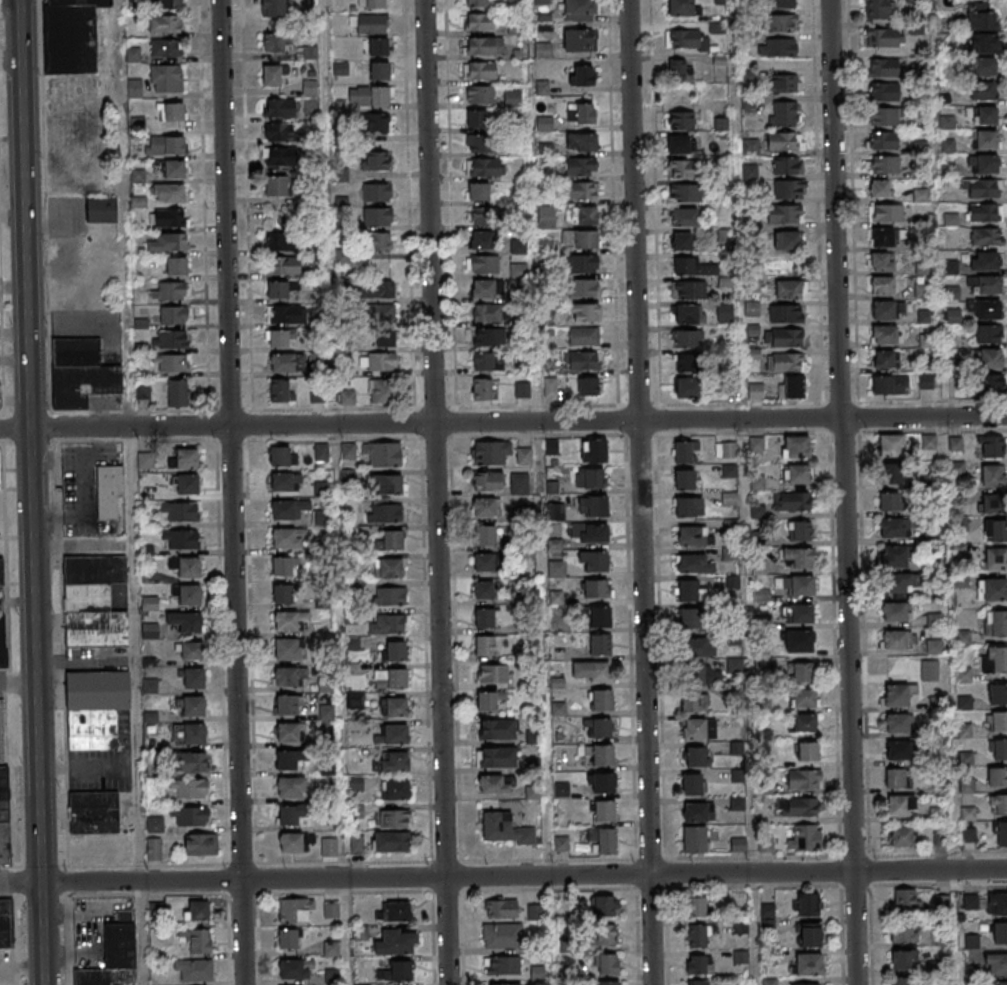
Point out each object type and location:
building: (913, 0)
building: (479, 3)
building: (170, 4)
building: (371, 4)
building: (513, 4)
building: (781, 4)
building: (681, 8)
building: (272, 9)
building: (877, 9)
building: (578, 11)
building: (480, 21)
building: (981, 22)
building: (781, 23)
building: (371, 24)
building: (165, 25)
building: (514, 28)
building: (71, 36)
building: (682, 37)
building: (882, 37)
building: (578, 40)
building: (276, 42)
building: (983, 44)
building: (379, 46)
building: (484, 46)
building: (777, 47)
building: (165, 48)
building: (543, 50)
building: (309, 51)
building: (983, 67)
building: (883, 68)
building: (678, 69)
building: (379, 70)
building: (478, 70)
road: (324, 73)
building: (274, 74)
building: (582, 75)
building: (166, 78)
building: (785, 83)
building: (984, 91)
building: (884, 93)
building: (370, 94)
building: (480, 95)
building: (512, 98)
building: (278, 108)
building: (172, 112)
building: (581, 113)
building: (783, 114)
building: (983, 115)
building: (883, 116)
building: (475, 119)
building: (680, 119)
building: (375, 122)
building: (280, 132)
building: (984, 139)
building: (883, 140)
building: (581, 141)
building: (783, 141)
building: (479, 143)
building: (680, 144)
building: (164, 146)
building: (279, 156)
building: (376, 160)
building: (884, 164)
building: (984, 164)
building: (787, 165)
building: (580, 166)
building: (483, 167)
building: (682, 168)
building: (172, 170)
building: (278, 186)
building: (879, 188)
building: (984, 188)
building: (788, 189)
building: (580, 190)
building: (477, 191)
building: (169, 192)
building: (376, 193)
building: (686, 193)
building: (921, 195)
road: (203, 204)
road: (44, 205)
road: (247, 205)
building: (100, 212)
building: (885, 212)
building: (984, 212)
building: (784, 214)
building: (482, 215)
building: (582, 215)
building: (547, 217)
building: (168, 218)
building: (378, 218)
building: (684, 218)
building: (986, 236)
building: (883, 237)
building: (586, 239)
building: (481, 240)
building: (168, 242)
building: (280, 242)
building: (682, 242)
building: (787, 242)
building: (380, 243)
building: (880, 261)
building: (983, 261)
building: (580, 263)
building: (484, 264)
building: (176, 265)
building: (284, 266)
building: (693, 268)
building: (882, 285)
building: (985, 285)
building: (487, 288)
building: (583, 288)
building: (278, 289)
building: (379, 290)
building: (689, 290)
building: (789, 290)
building: (923, 290)
building: (161, 291)
building: (883, 310)
building: (988, 310)
building: (583, 312)
building: (725, 312)
building: (378, 313)
building: (489, 313)
building: (173, 314)
building: (286, 314)
building: (687, 314)
building: (786, 314)
building: (925, 316)
building: (953, 316)
building: (884, 334)
building: (986, 334)
building: (583, 336)
building: (489, 337)
building: (279, 338)
building: (686, 338)
building: (171, 339)
building: (385, 339)
building: (783, 339)
building: (926, 341)
building: (990, 358)
building: (883, 359)
building: (582, 360)
building: (483, 361)
building: (287, 362)
building: (380, 362)
building: (687, 362)
building: (787, 363)
building: (171, 364)
building: (81, 372)
building: (925, 381)
building: (992, 384)
building: (588, 385)
building: (889, 385)
building: (550, 386)
building: (688, 388)
building: (792, 388)
building: (484, 389)
building: (522, 389)
building: (142, 390)
building: (279, 390)
building: (381, 391)
building: (755, 391)
building: (176, 392)
building: (316, 396)
building: (0, 397)
building: (347, 397)
road: (133, 409)
road: (231, 409)
road: (332, 409)
road: (503, 422)
road: (128, 440)
building: (928, 442)
building: (955, 443)
building: (756, 445)
building: (551, 446)
building: (891, 446)
building: (990, 446)
building: (796, 448)
building: (594, 450)
building: (725, 450)
building: (348, 451)
building: (684, 451)
building: (321, 452)
building: (490, 453)
building: (384, 454)
building: (281, 456)
building: (525, 456)
building: (186, 458)
building: (0, 467)
building: (958, 468)
building: (729, 471)
building: (796, 475)
building: (892, 475)
building: (993, 475)
building: (593, 478)
building: (684, 479)
building: (285, 482)
building: (487, 482)
building: (519, 483)
building: (187, 484)
building: (386, 484)
building: (553, 487)
building: (321, 489)
road: (30, 492)
road: (231, 492)
road: (435, 492)
road: (639, 492)
road: (844, 492)
building: (791, 503)
building: (888, 503)
building: (992, 503)
building: (110, 504)
building: (593, 506)
building: (689, 507)
building: (485, 508)
building: (288, 509)
road: (80, 511)
building: (182, 511)
building: (384, 513)
building: (891, 529)
building: (995, 530)
building: (589, 532)
building: (799, 532)
building: (483, 535)
building: (694, 536)
building: (289, 538)
building: (180, 539)
building: (392, 540)
building: (798, 558)
building: (894, 558)
building: (996, 559)
building: (593, 561)
building: (483, 562)
building: (695, 564)
building: (189, 566)
building: (282, 566)
building: (388, 568)
building: (556, 569)
building: (733, 583)
building: (896, 585)
building: (797, 587)
building: (483, 589)
building: (596, 589)
building: (994, 590)
building: (689, 591)
building: (283, 593)
building: (187, 594)
building: (393, 596)
building: (761, 596)
building: (93, 600)
building: (895, 613)
building: (2, 614)
building: (798, 615)
building: (486, 617)
building: (600, 618)
building: (691, 619)
building: (286, 621)
building: (186, 622)
building: (388, 624)
building: (996, 625)
building: (898, 641)
building: (799, 642)
building: (489, 644)
building: (599, 645)
building: (698, 648)
building: (287, 649)
building: (192, 651)
building: (393, 651)
building: (995, 660)
building: (591, 671)
building: (800, 673)
building: (493, 674)
building: (700, 675)
building: (193, 677)
building: (286, 677)
building: (390, 678)
road: (17, 684)
building: (897, 694)
building: (997, 694)
building: (803, 699)
building: (602, 700)
building: (486, 701)
building: (690, 702)
building: (288, 704)
building: (193, 706)
building: (393, 706)
building: (95, 708)
building: (997, 721)
parking lot: (1, 722)
building: (896, 723)
building: (803, 724)
building: (600, 727)
building: (496, 729)
building: (698, 730)
building: (287, 732)
building: (189, 734)
building: (394, 734)
building: (897, 750)
building: (998, 750)
building: (807, 752)
building: (600, 754)
building: (695, 756)
building: (497, 757)
building: (289, 759)
building: (392, 762)
parking lot: (103, 763)
building: (191, 763)
building: (997, 777)
building: (896, 778)
building: (804, 779)
building: (603, 783)
building: (692, 784)
building: (495, 785)
building: (291, 788)
building: (395, 789)
building: (190, 790)
building: (901, 805)
building: (999, 805)
building: (797, 806)
building: (604, 811)
building: (698, 811)
building: (93, 812)
building: (938, 814)
building: (290, 815)
building: (4, 816)
building: (190, 816)
building: (395, 818)
building: (155, 825)
building: (497, 827)
building: (1002, 832)
building: (526, 836)
building: (902, 836)
building: (805, 838)
building: (695, 839)
building: (602, 840)
building: (391, 841)
building: (201, 843)
building: (291, 843)
building: (356, 844)
building: (329, 847)
building: (156, 849)
road: (503, 876)
building: (903, 900)
building: (971, 901)
building: (806, 904)
building: (997, 904)
building: (603, 906)
building: (697, 908)
building: (501, 909)
building: (197, 910)
building: (330, 910)
building: (295, 911)
building: (395, 911)
building: (534, 912)
building: (768, 916)
building: (5, 924)
building: (1000, 932)
road: (141, 933)
building: (903, 933)
building: (810, 934)
building: (504, 935)
building: (606, 935)
building: (696, 936)
building: (288, 939)
building: (198, 940)
building: (396, 942)
building: (331, 948)
building: (113, 958)
building: (902, 959)
building: (807, 963)
building: (699, 964)
building: (997, 964)
building: (502, 965)
building: (607, 966)
building: (296, 969)
building: (194, 970)
building: (398, 971)
building: (537, 975)
building: (903, 981)
building: (701, 982)
building: (998, 983)
building: (504, 984)
building: (607, 984)
building: (804, 984)

